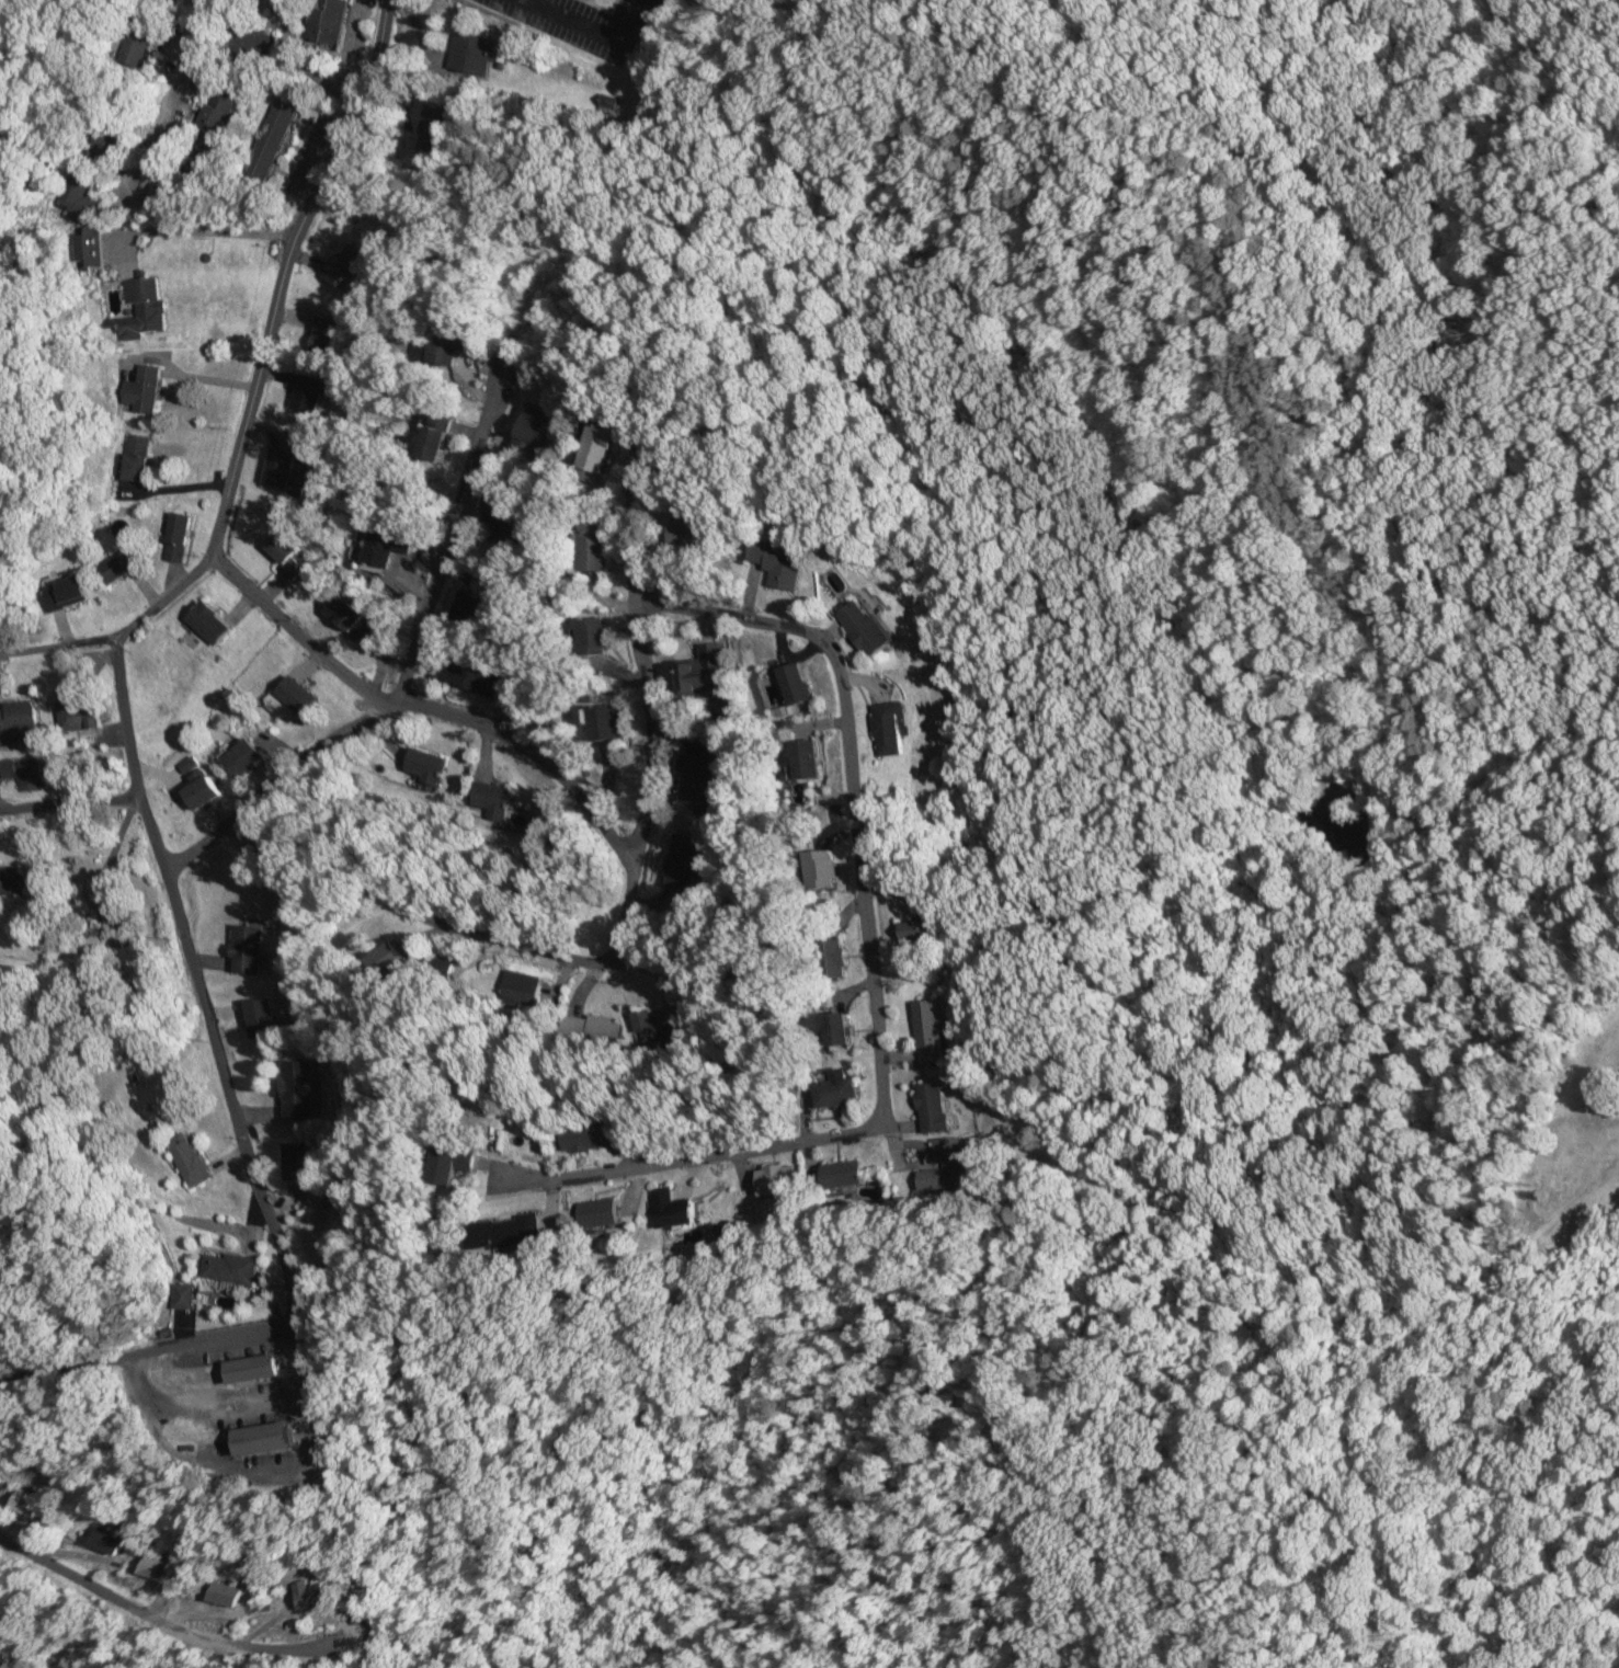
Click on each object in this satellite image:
building: (322, 19)
parking lot: (586, 22)
road: (593, 30)
building: (134, 42)
building: (470, 53)
road: (298, 61)
road: (168, 93)
road: (356, 98)
building: (210, 130)
building: (432, 130)
building: (270, 136)
building: (78, 193)
building: (87, 247)
building: (338, 273)
building: (139, 309)
road: (265, 331)
building: (323, 338)
building: (141, 390)
building: (305, 395)
building: (532, 425)
building: (434, 437)
building: (591, 454)
building: (135, 458)
building: (277, 468)
building: (685, 519)
building: (501, 521)
building: (175, 536)
building: (593, 546)
building: (385, 548)
building: (284, 555)
building: (775, 565)
building: (114, 567)
building: (62, 593)
building: (470, 608)
building: (349, 619)
building: (207, 622)
building: (864, 628)
road: (295, 629)
building: (592, 637)
road: (57, 642)
road: (404, 662)
building: (705, 672)
building: (470, 675)
building: (795, 684)
building: (293, 697)
building: (80, 716)
building: (18, 722)
building: (603, 722)
building: (887, 728)
road: (533, 753)
building: (242, 757)
building: (802, 759)
building: (422, 765)
building: (28, 776)
building: (698, 779)
building: (202, 792)
building: (490, 797)
road: (68, 799)
road: (646, 810)
building: (682, 861)
building: (819, 869)
building: (9, 879)
building: (111, 913)
building: (915, 930)
building: (247, 949)
building: (834, 959)
road: (874, 964)
road: (196, 980)
building: (521, 986)
building: (261, 1018)
building: (646, 1025)
building: (835, 1028)
building: (928, 1029)
building: (294, 1088)
building: (835, 1088)
building: (931, 1107)
building: (575, 1135)
building: (187, 1158)
building: (295, 1159)
building: (441, 1161)
building: (943, 1166)
building: (842, 1173)
building: (776, 1177)
building: (670, 1208)
building: (596, 1212)
building: (498, 1229)
building: (227, 1267)
building: (178, 1294)
building: (1239, 1330)
road: (146, 1348)
building: (251, 1368)
road: (237, 1403)
building: (259, 1437)
building: (23, 1503)
building: (101, 1540)
building: (150, 1566)
building: (220, 1592)
building: (304, 1592)
road: (156, 1610)

